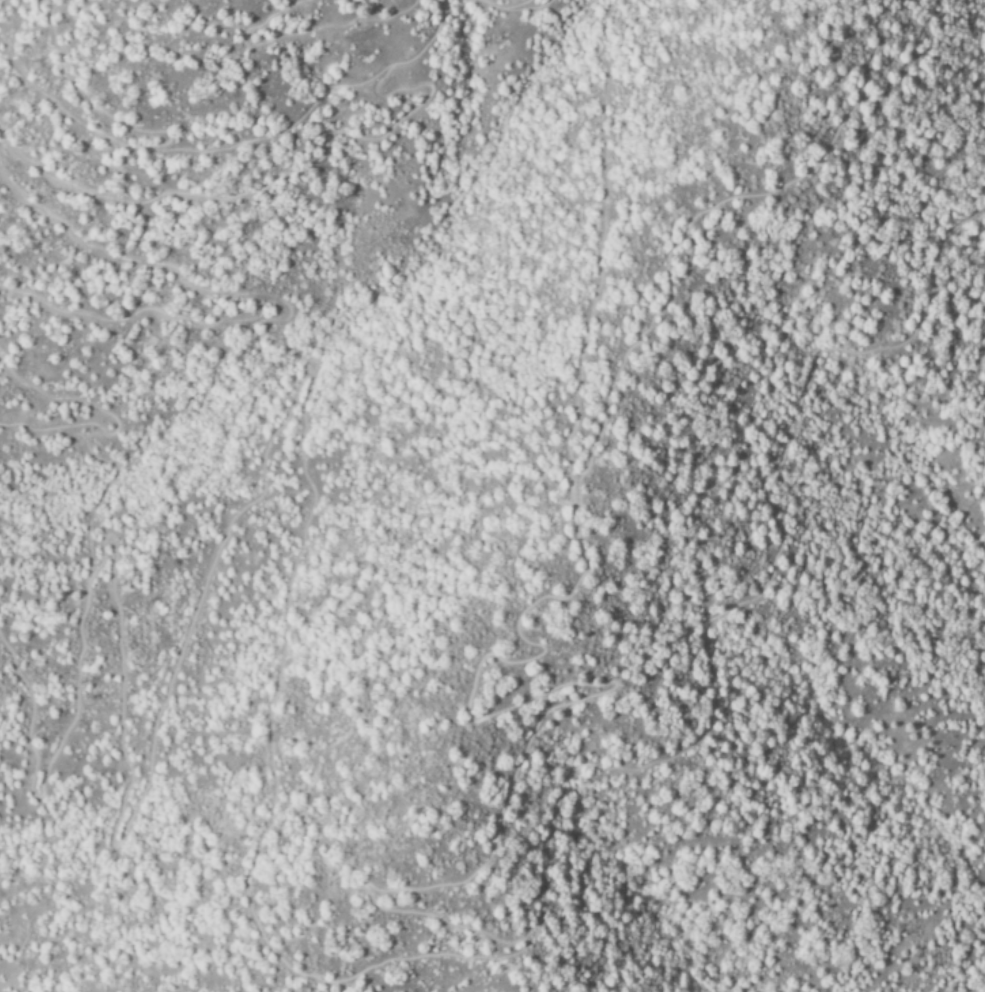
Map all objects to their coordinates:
road: (210, 2)
road: (511, 3)
road: (513, 5)
road: (285, 37)
road: (83, 90)
road: (316, 97)
road: (70, 114)
road: (264, 187)
road: (599, 248)
road: (275, 309)
road: (83, 403)
road: (247, 425)
road: (90, 450)
road: (750, 594)
road: (506, 659)
road: (37, 742)
road: (469, 978)

